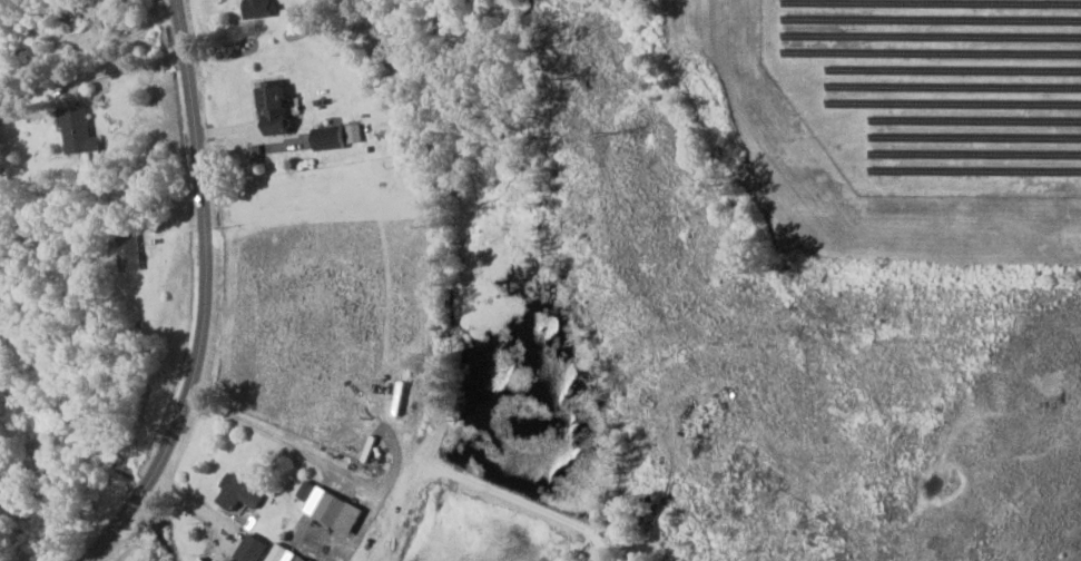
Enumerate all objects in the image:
building: (257, 8)
road: (130, 71)
solar farm: (933, 89)
building: (275, 108)
building: (79, 130)
building: (354, 132)
building: (330, 137)
building: (255, 152)
building: (129, 253)
road: (204, 294)
building: (239, 491)
building: (331, 508)
building: (253, 548)
building: (284, 554)
building: (202, 559)
building: (229, 560)

